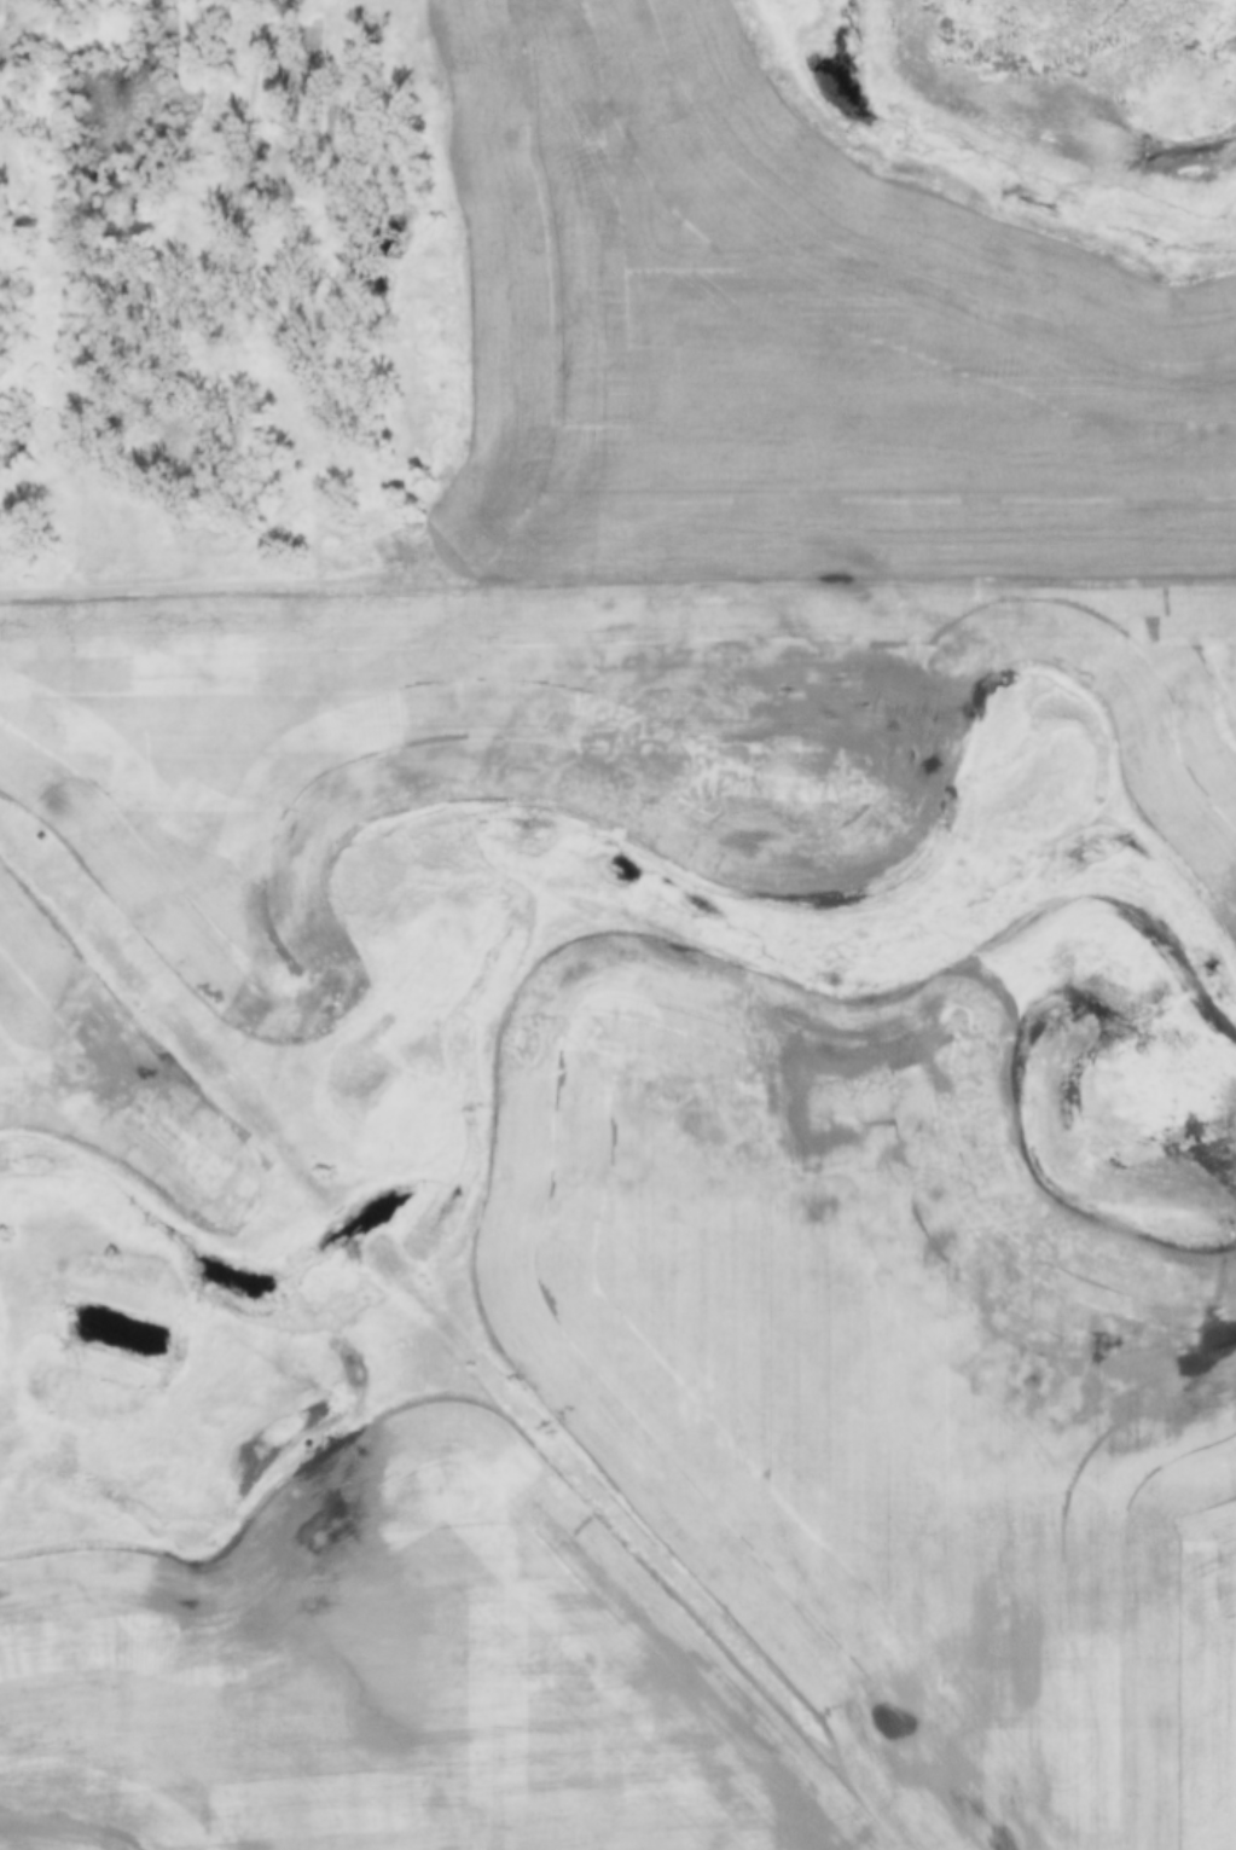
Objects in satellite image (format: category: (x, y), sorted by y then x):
road: (221, 576)

